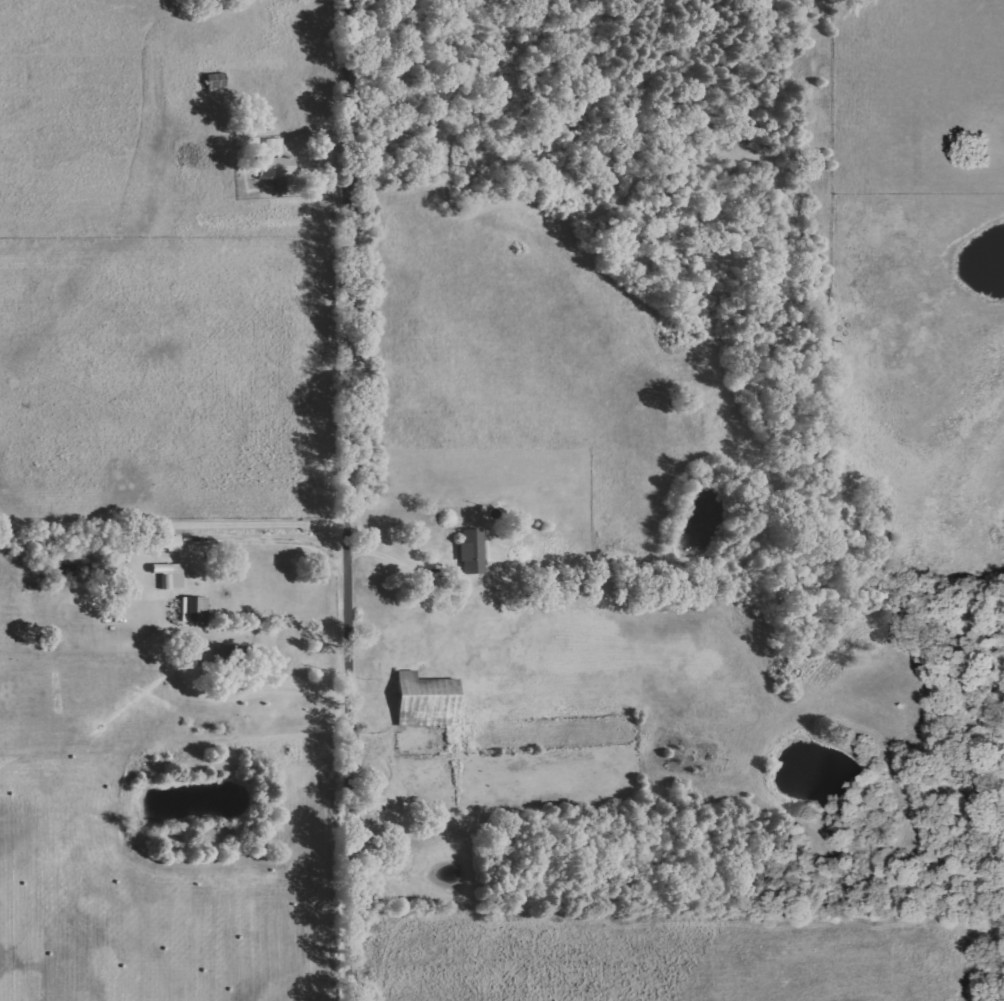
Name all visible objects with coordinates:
building: (276, 146)
building: (277, 167)
road: (349, 500)
building: (176, 544)
building: (474, 552)
road: (395, 561)
building: (167, 574)
building: (196, 609)
building: (231, 666)
building: (429, 701)

